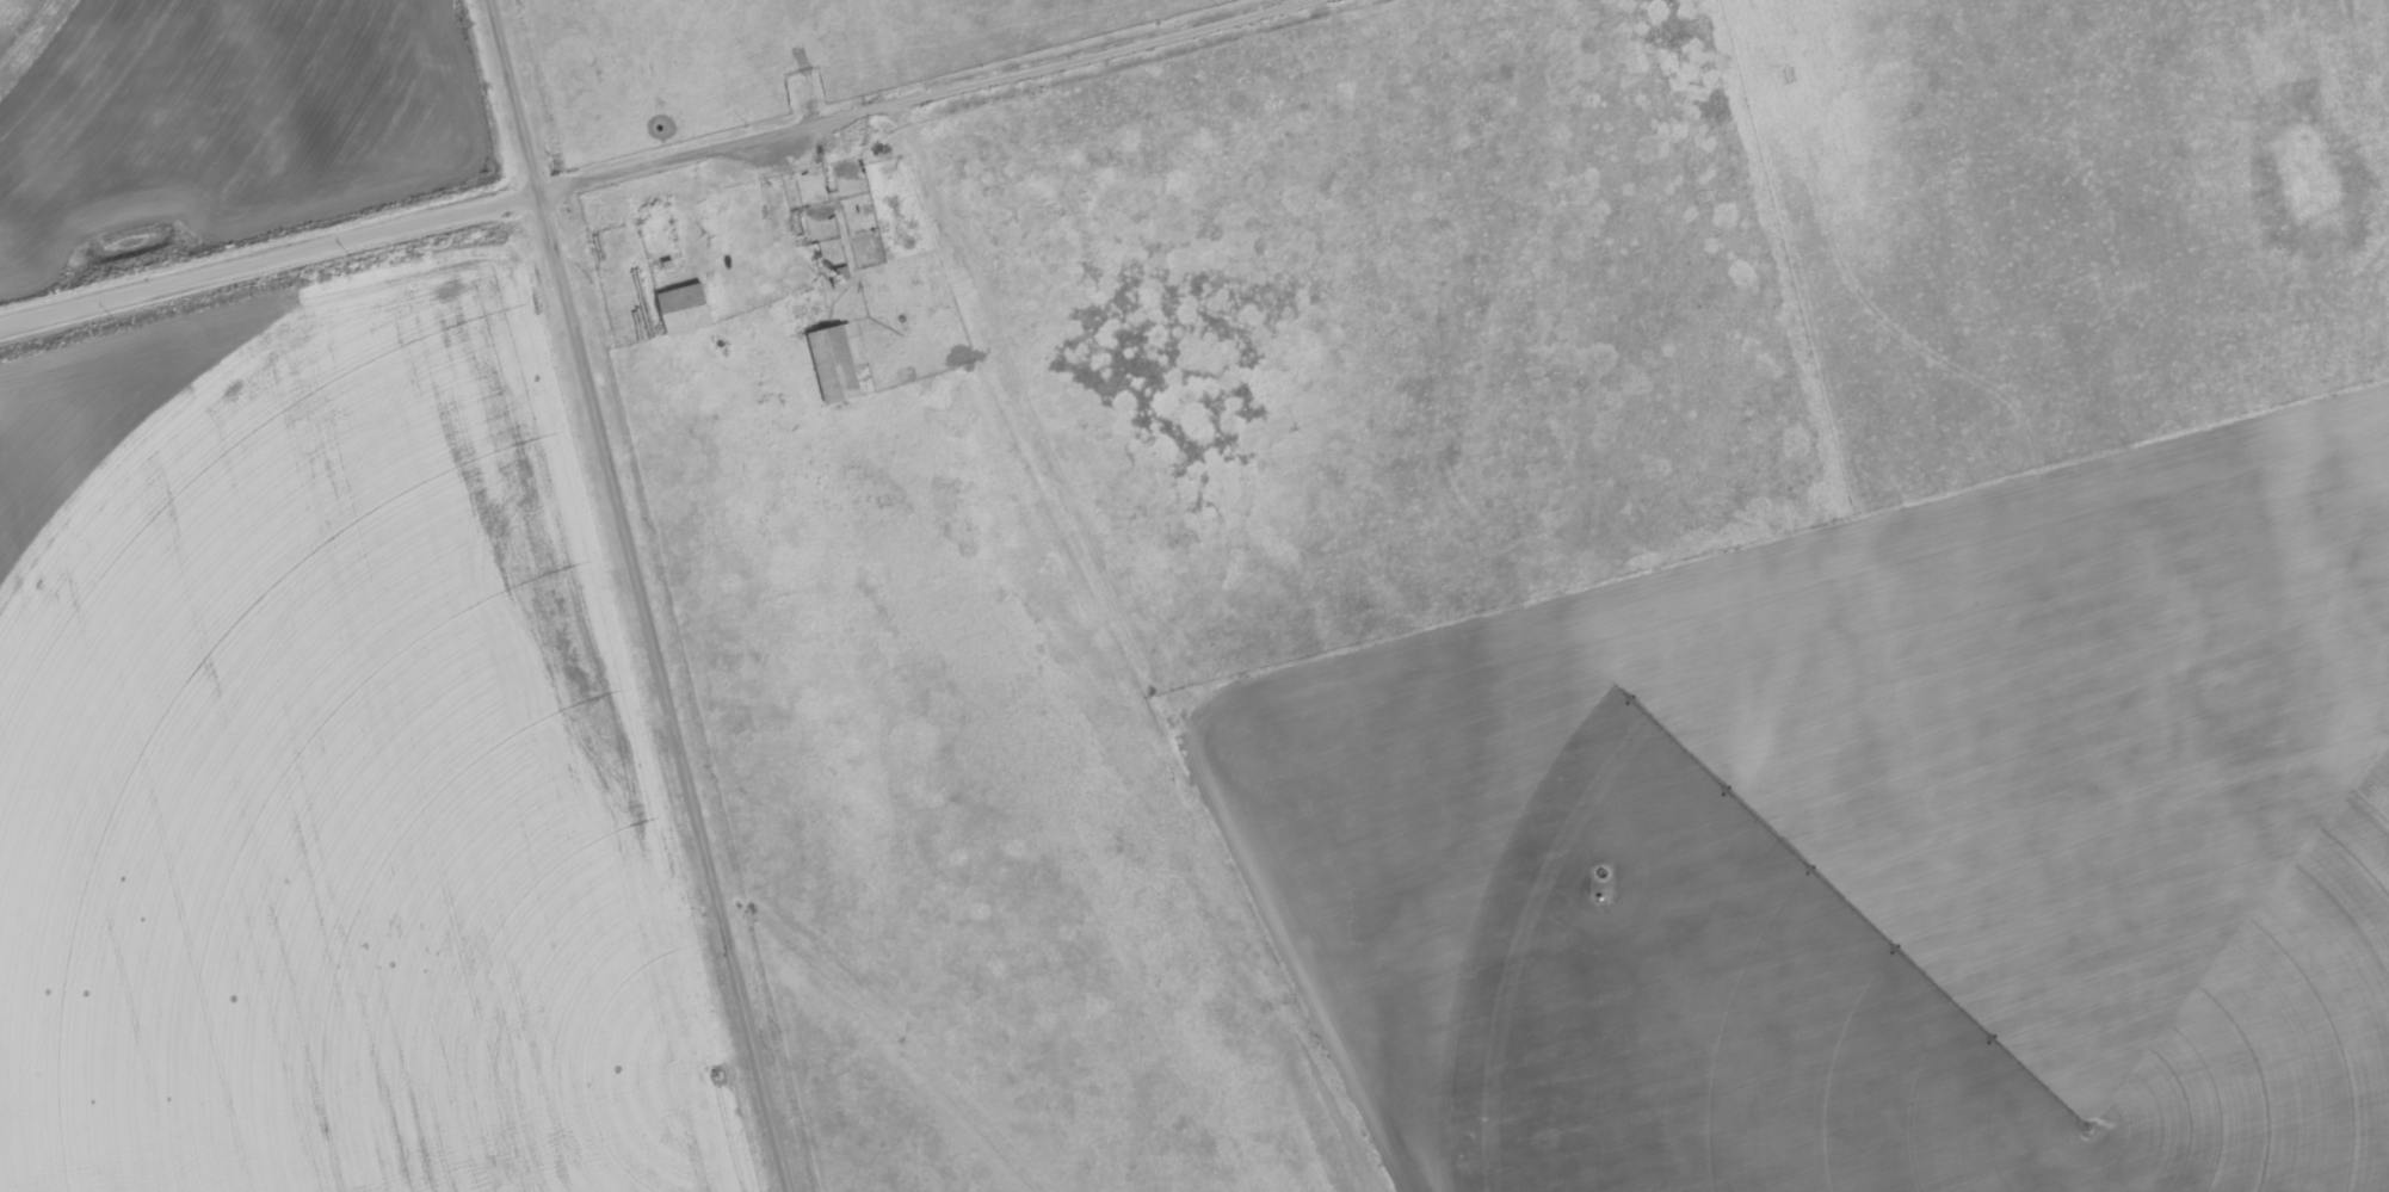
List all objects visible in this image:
road: (654, 161)
building: (650, 206)
road: (950, 239)
building: (663, 264)
building: (837, 282)
building: (679, 309)
building: (829, 364)
road: (632, 595)

